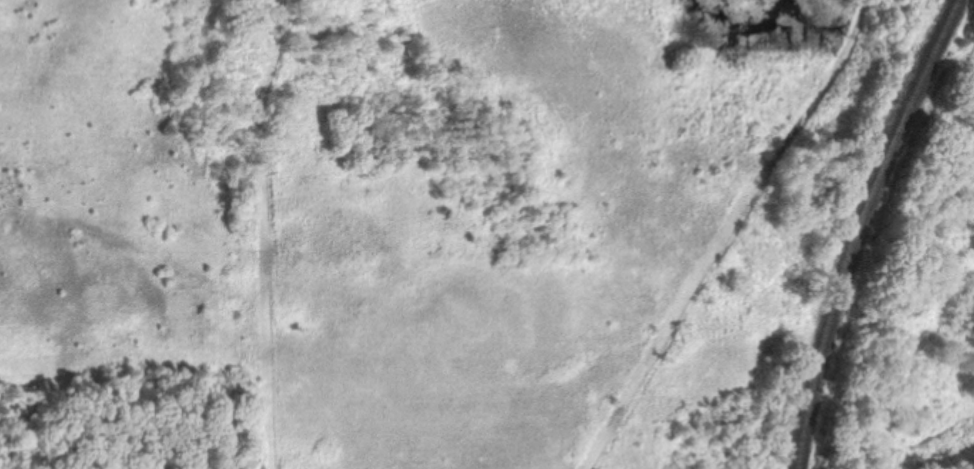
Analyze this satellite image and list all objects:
park: (501, 226)
railway: (863, 228)
road: (731, 232)
road: (270, 233)

